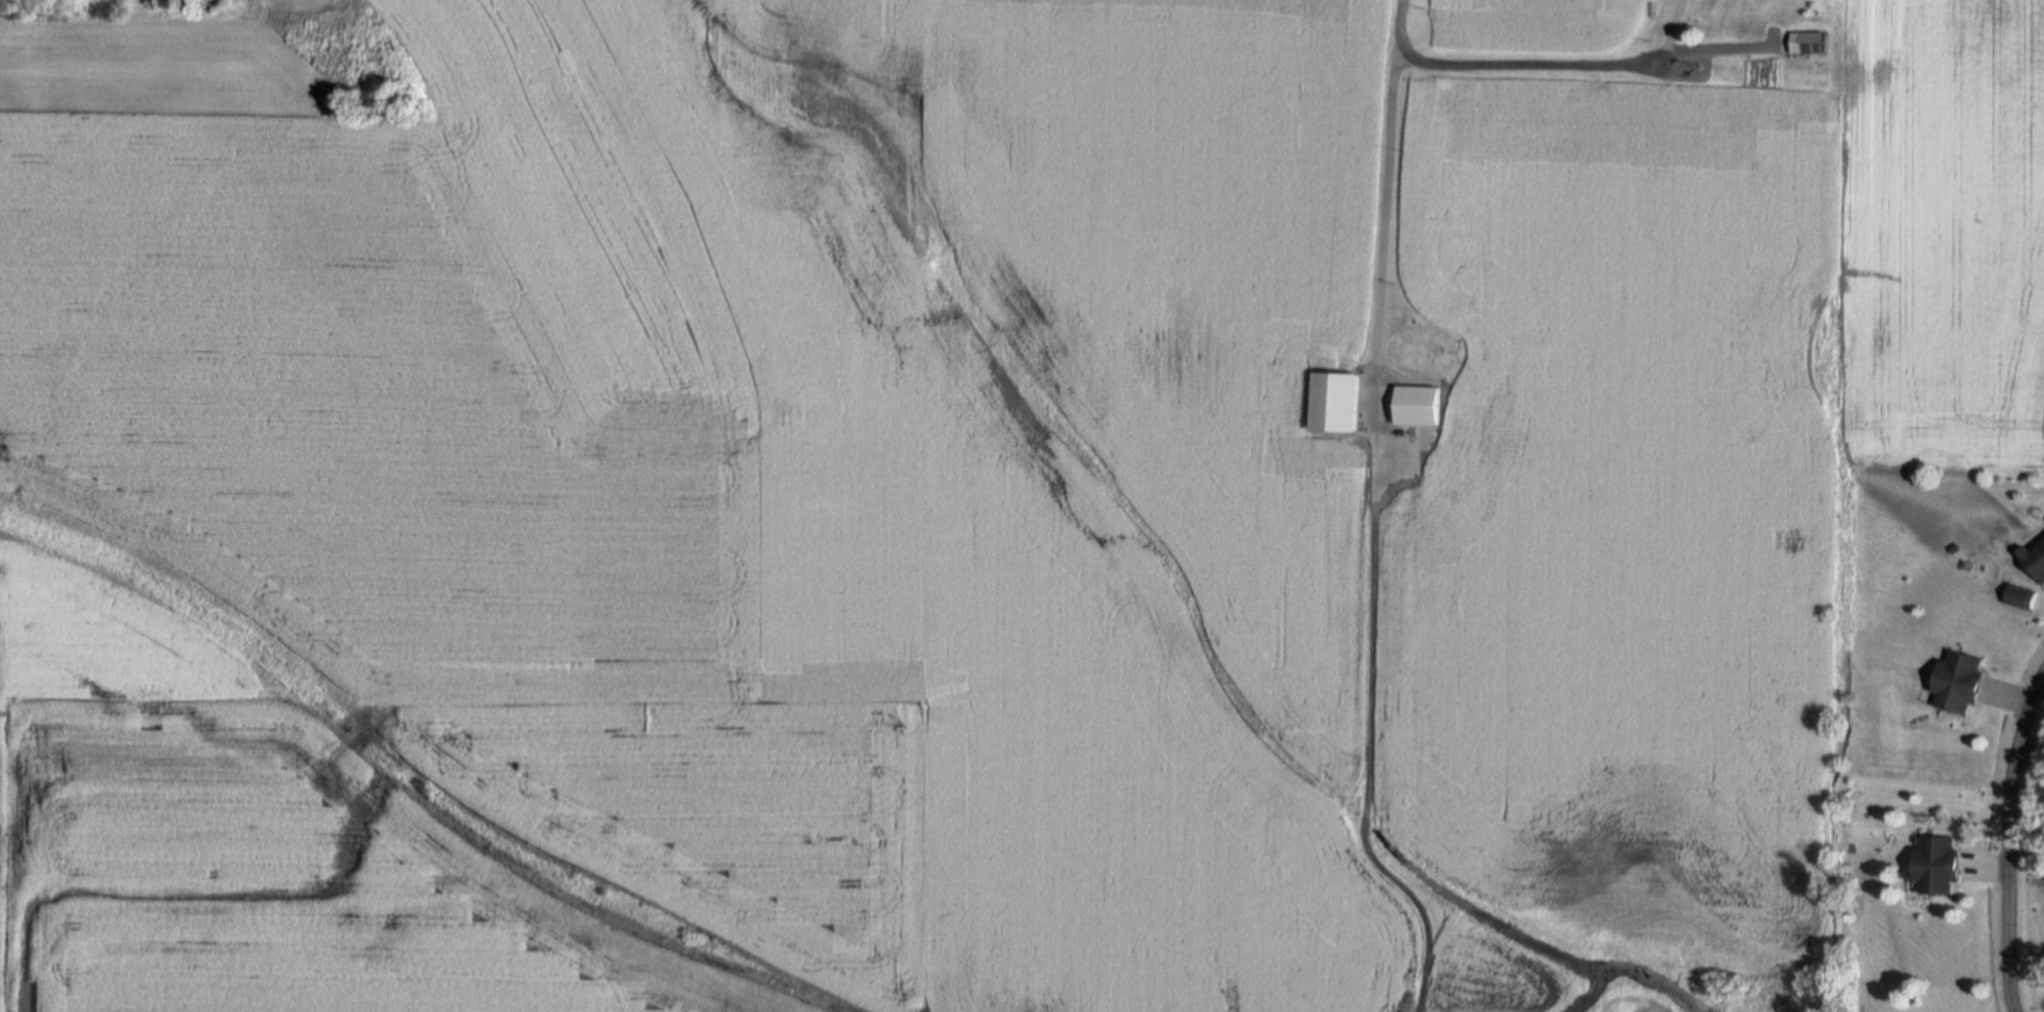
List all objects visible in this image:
road: (1667, 32)
building: (1806, 44)
road: (1717, 50)
road: (1501, 65)
building: (1417, 405)
building: (1406, 466)
building: (2034, 559)
building: (2022, 596)
road: (1372, 622)
building: (1959, 681)
road: (2009, 841)
building: (1938, 865)

